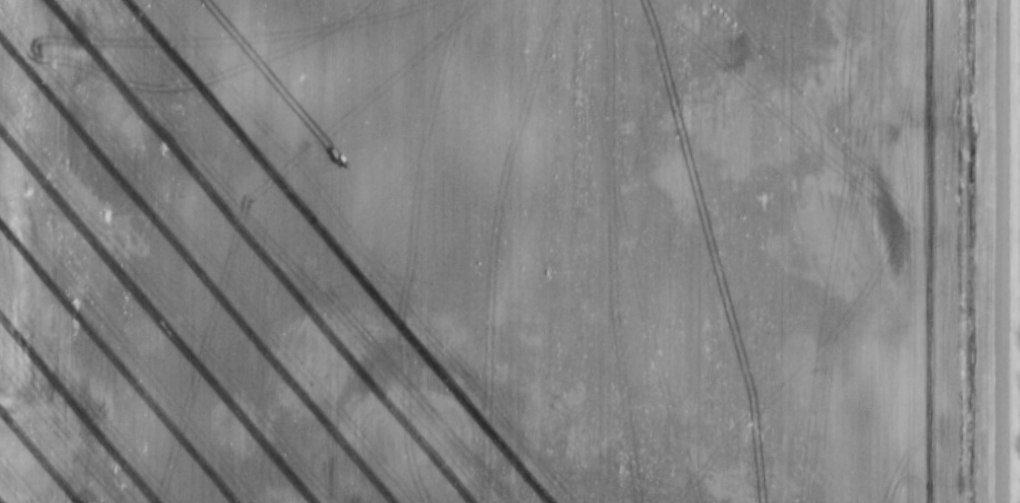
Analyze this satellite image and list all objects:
road: (1004, 251)

